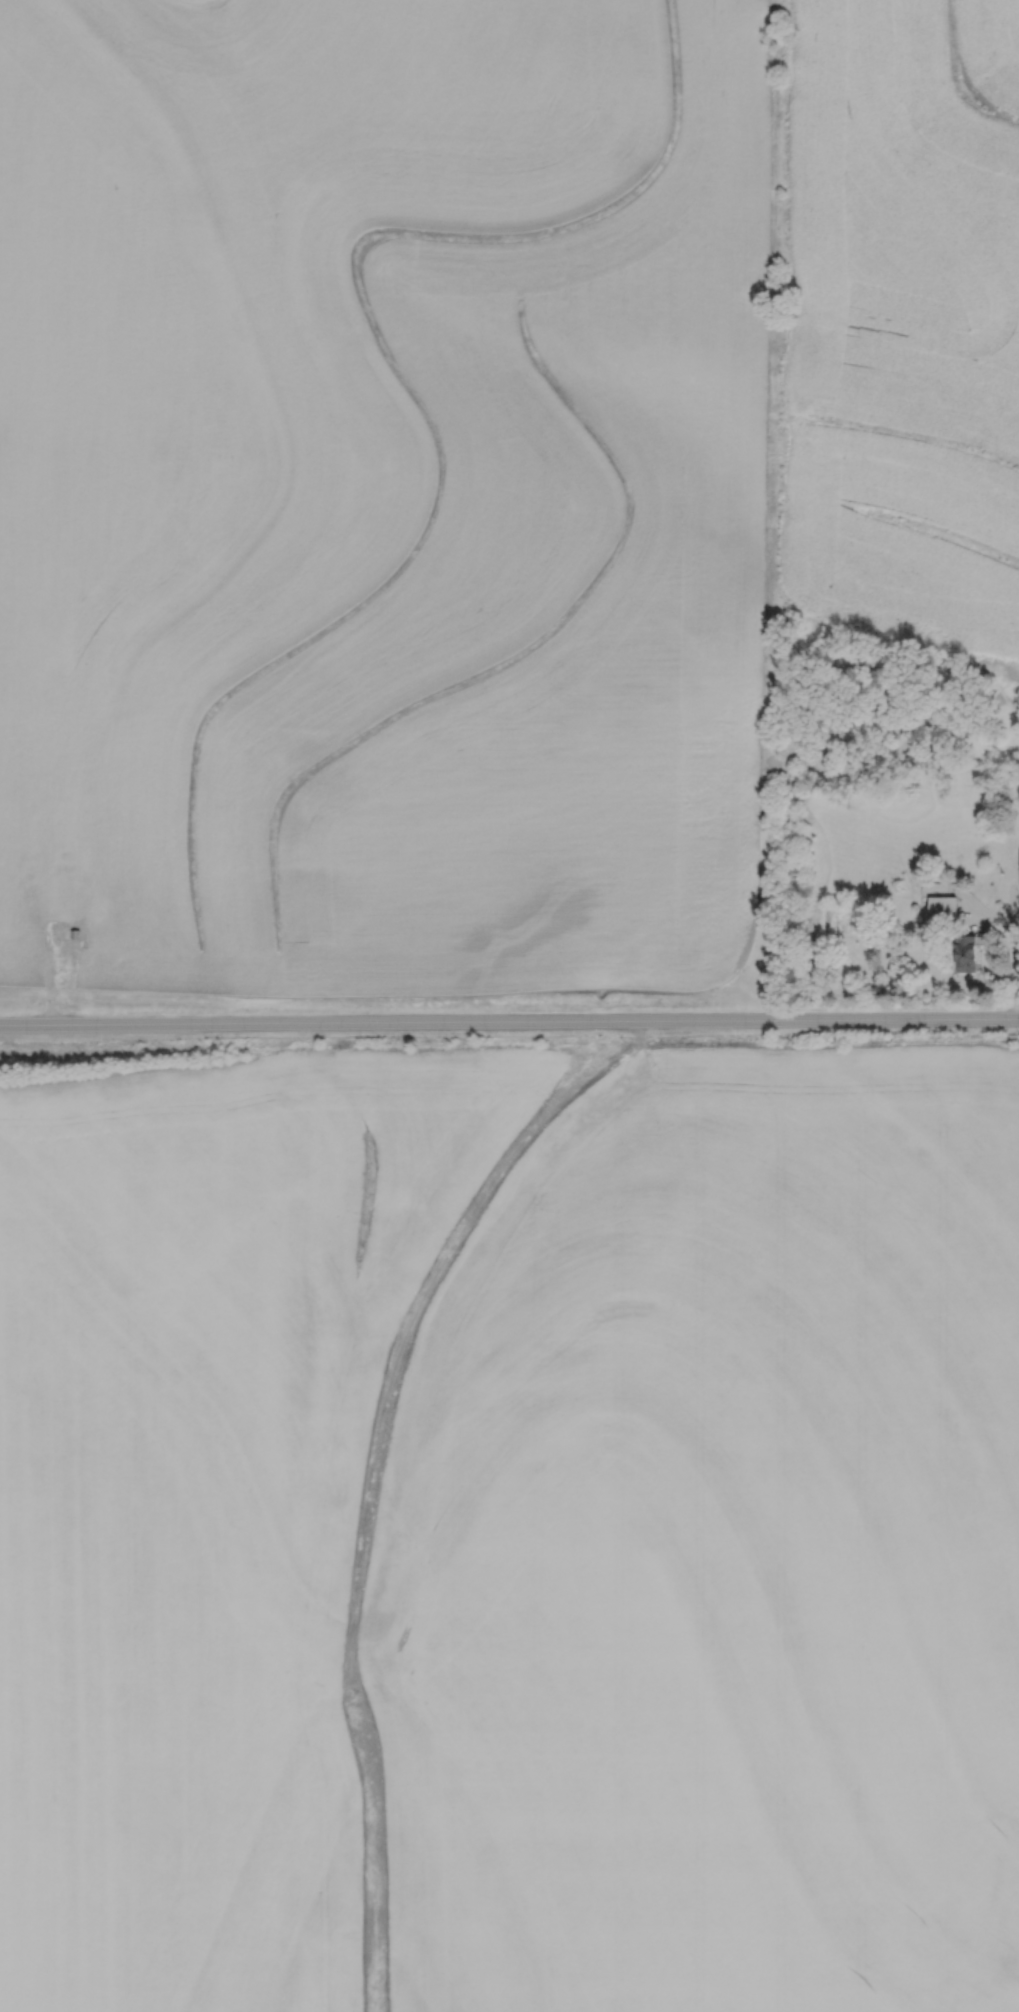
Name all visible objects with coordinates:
crop: (898, 319)
crop: (388, 492)
building: (1018, 873)
building: (941, 913)
building: (963, 955)
road: (509, 1021)
crop: (511, 1535)

